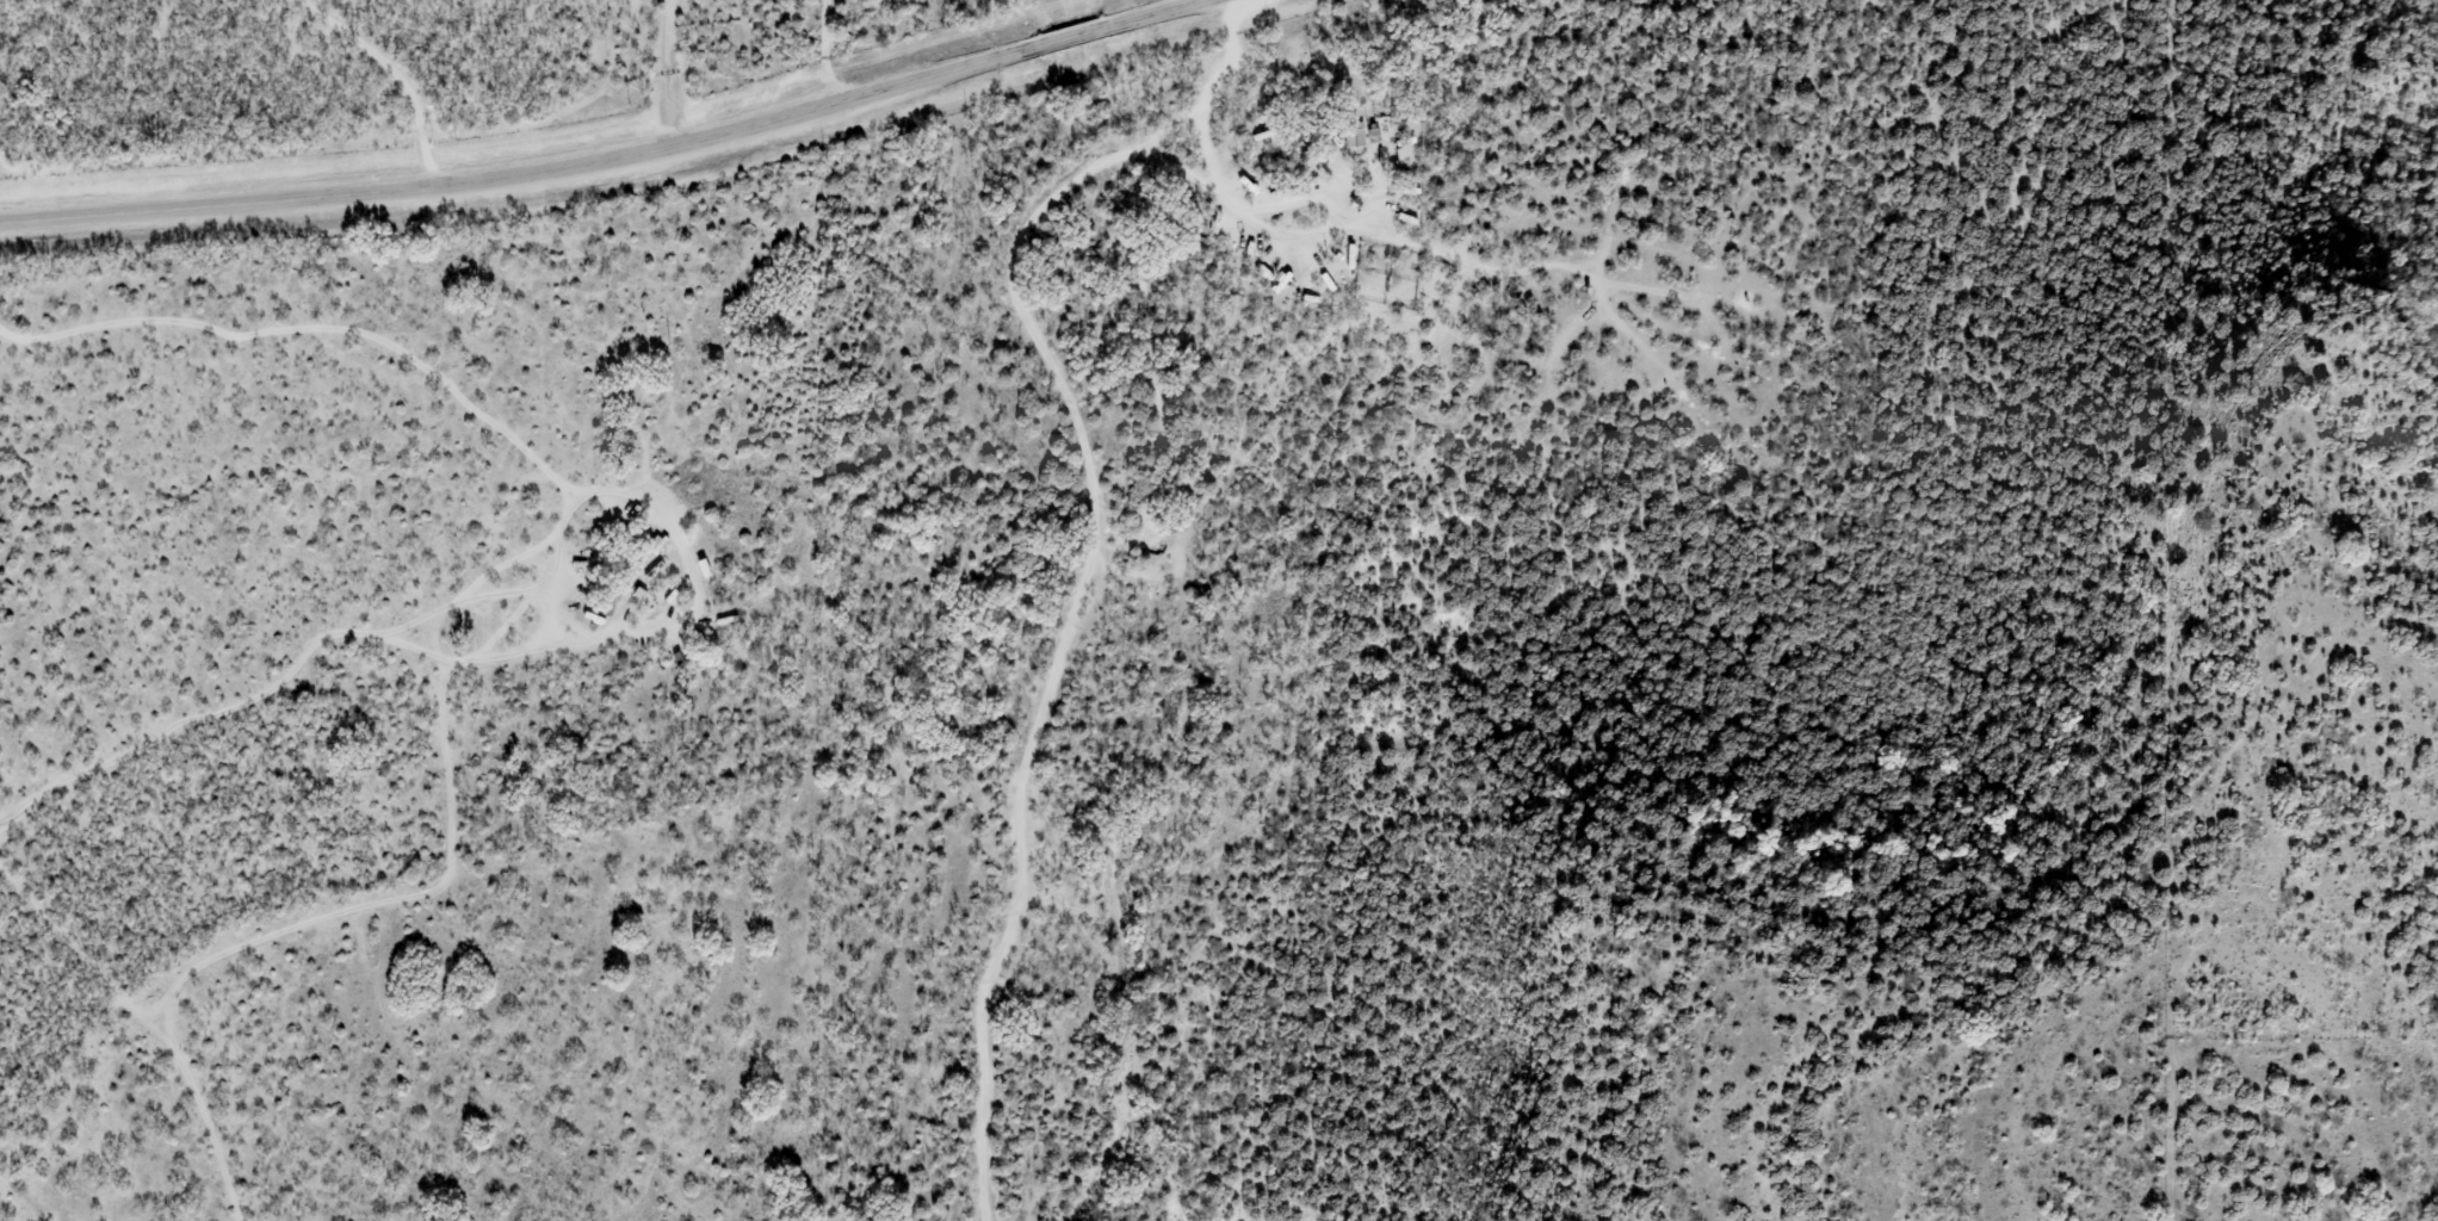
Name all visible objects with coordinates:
building: (1354, 136)
building: (1404, 153)
road: (608, 156)
building: (689, 513)
road: (1085, 579)

